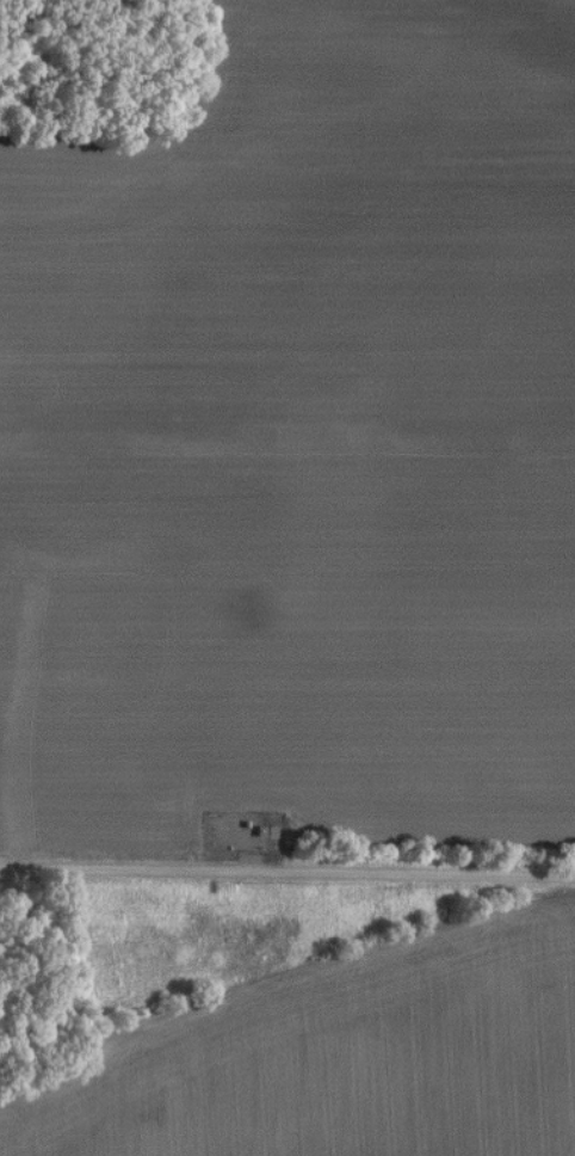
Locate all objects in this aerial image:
road: (286, 874)

